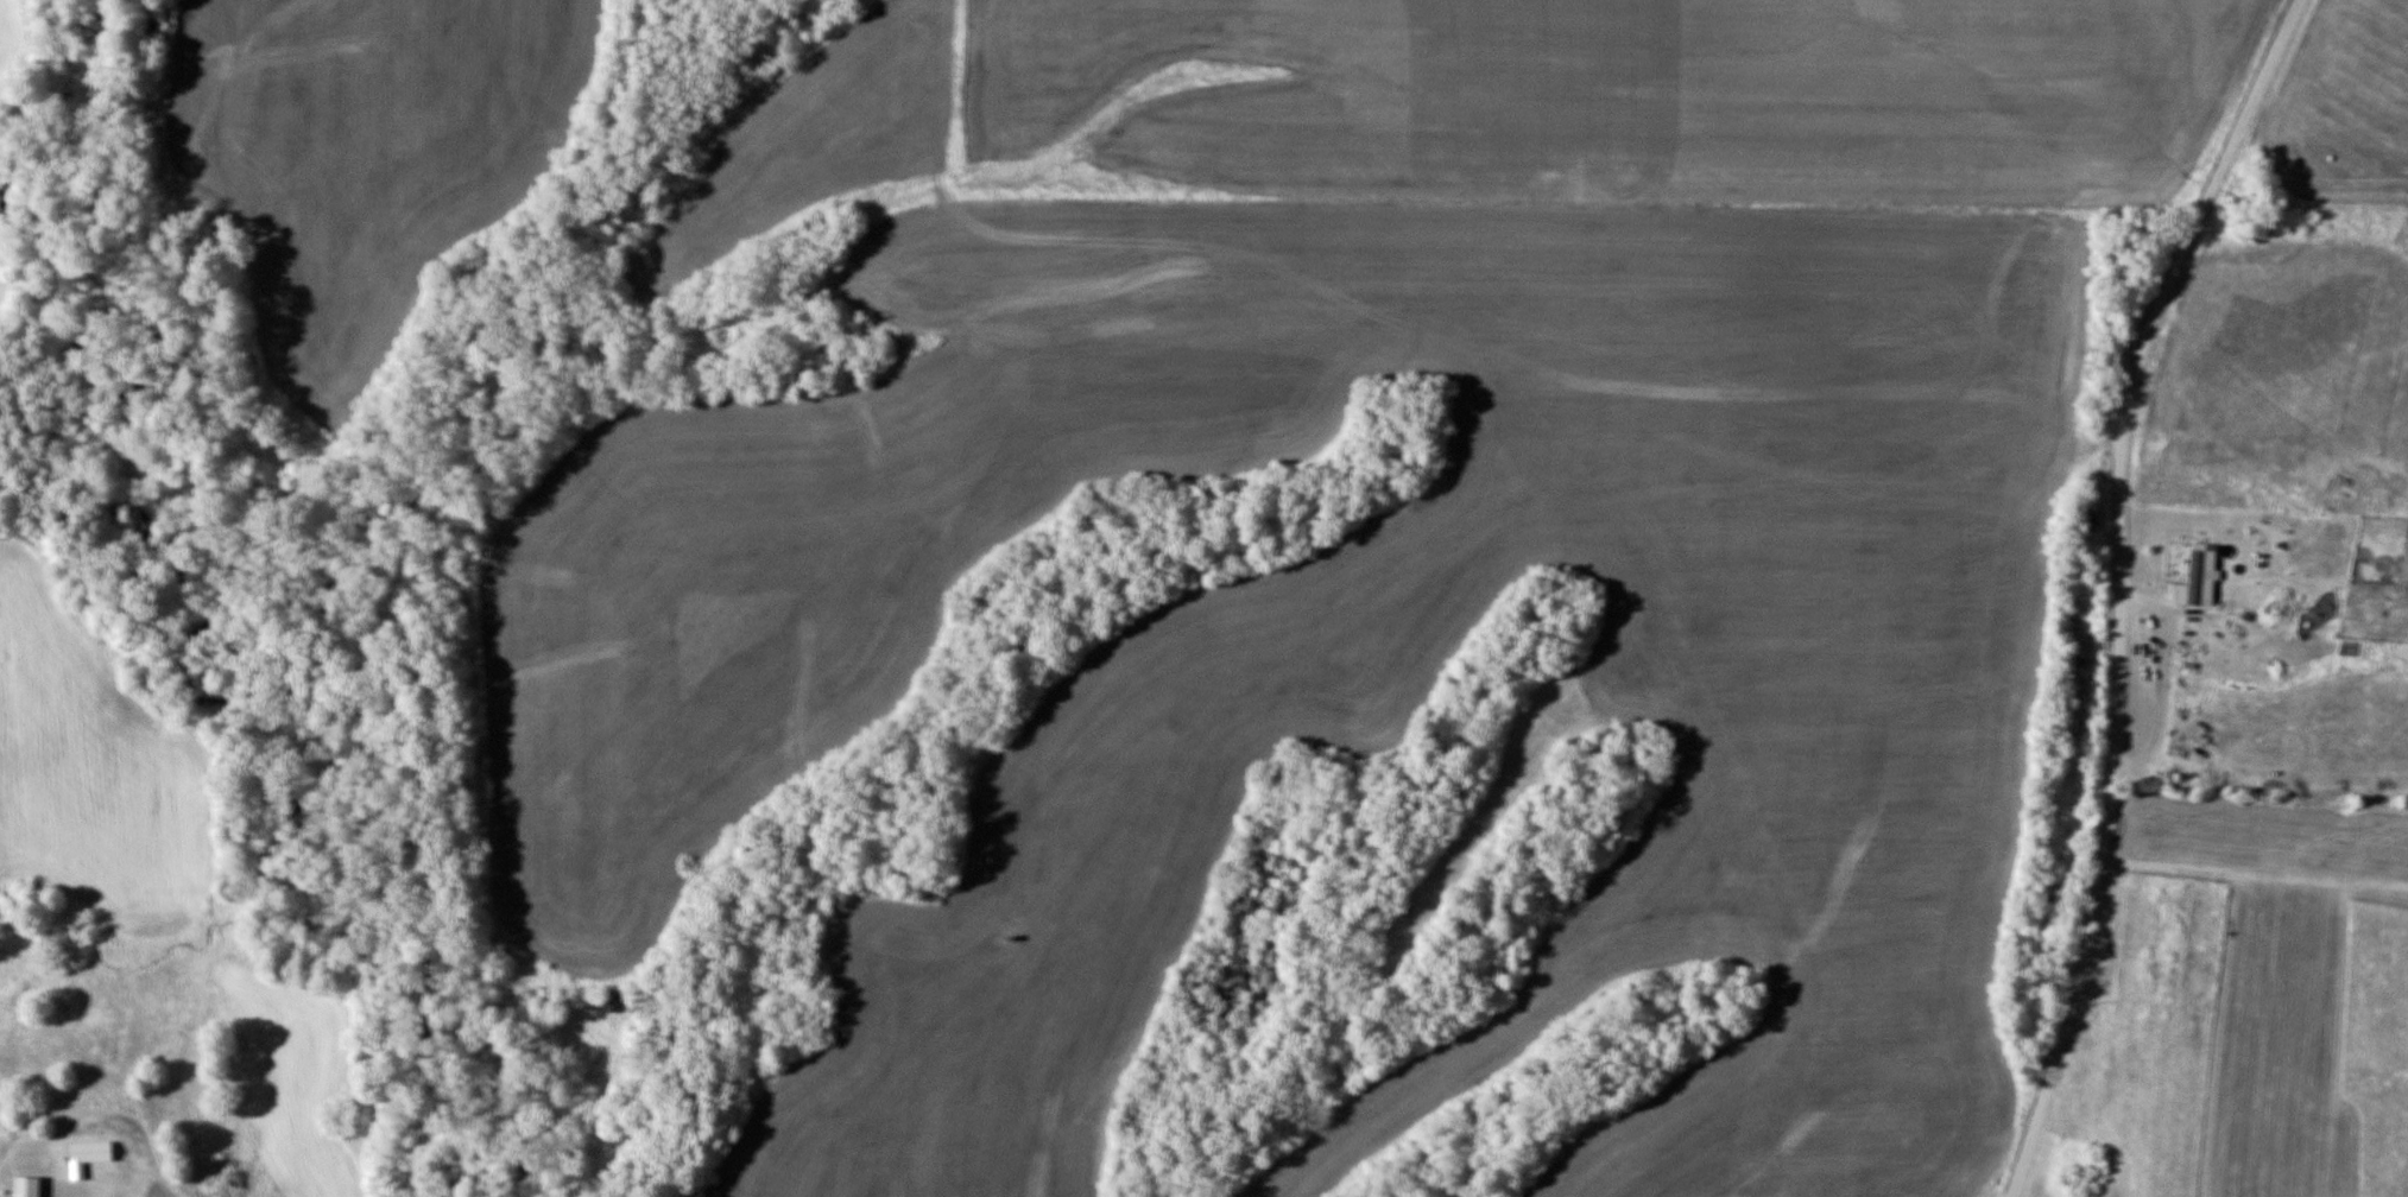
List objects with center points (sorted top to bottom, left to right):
building: (2202, 574)
road: (2116, 585)
building: (609, 1000)
building: (29, 1186)

